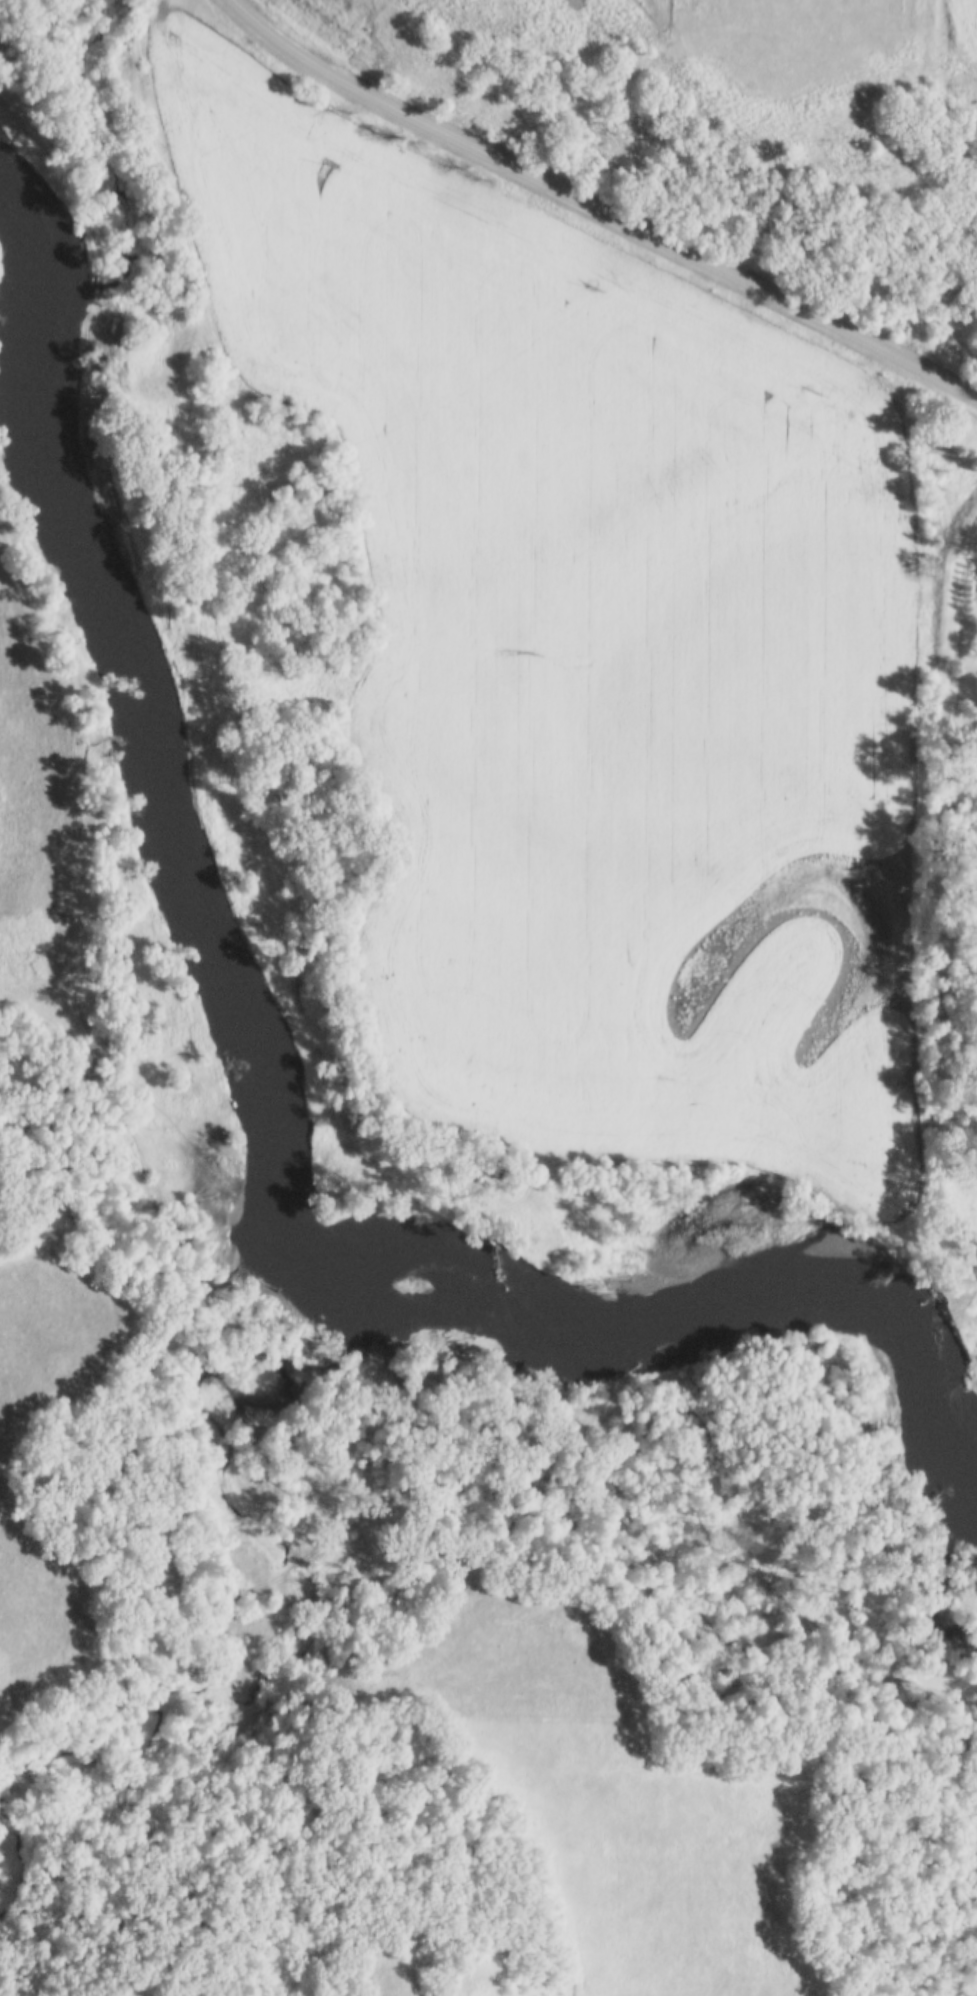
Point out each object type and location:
road: (600, 203)
river: (30, 261)
river: (155, 805)
road: (722, 1162)
river: (671, 1248)
river: (975, 1477)

